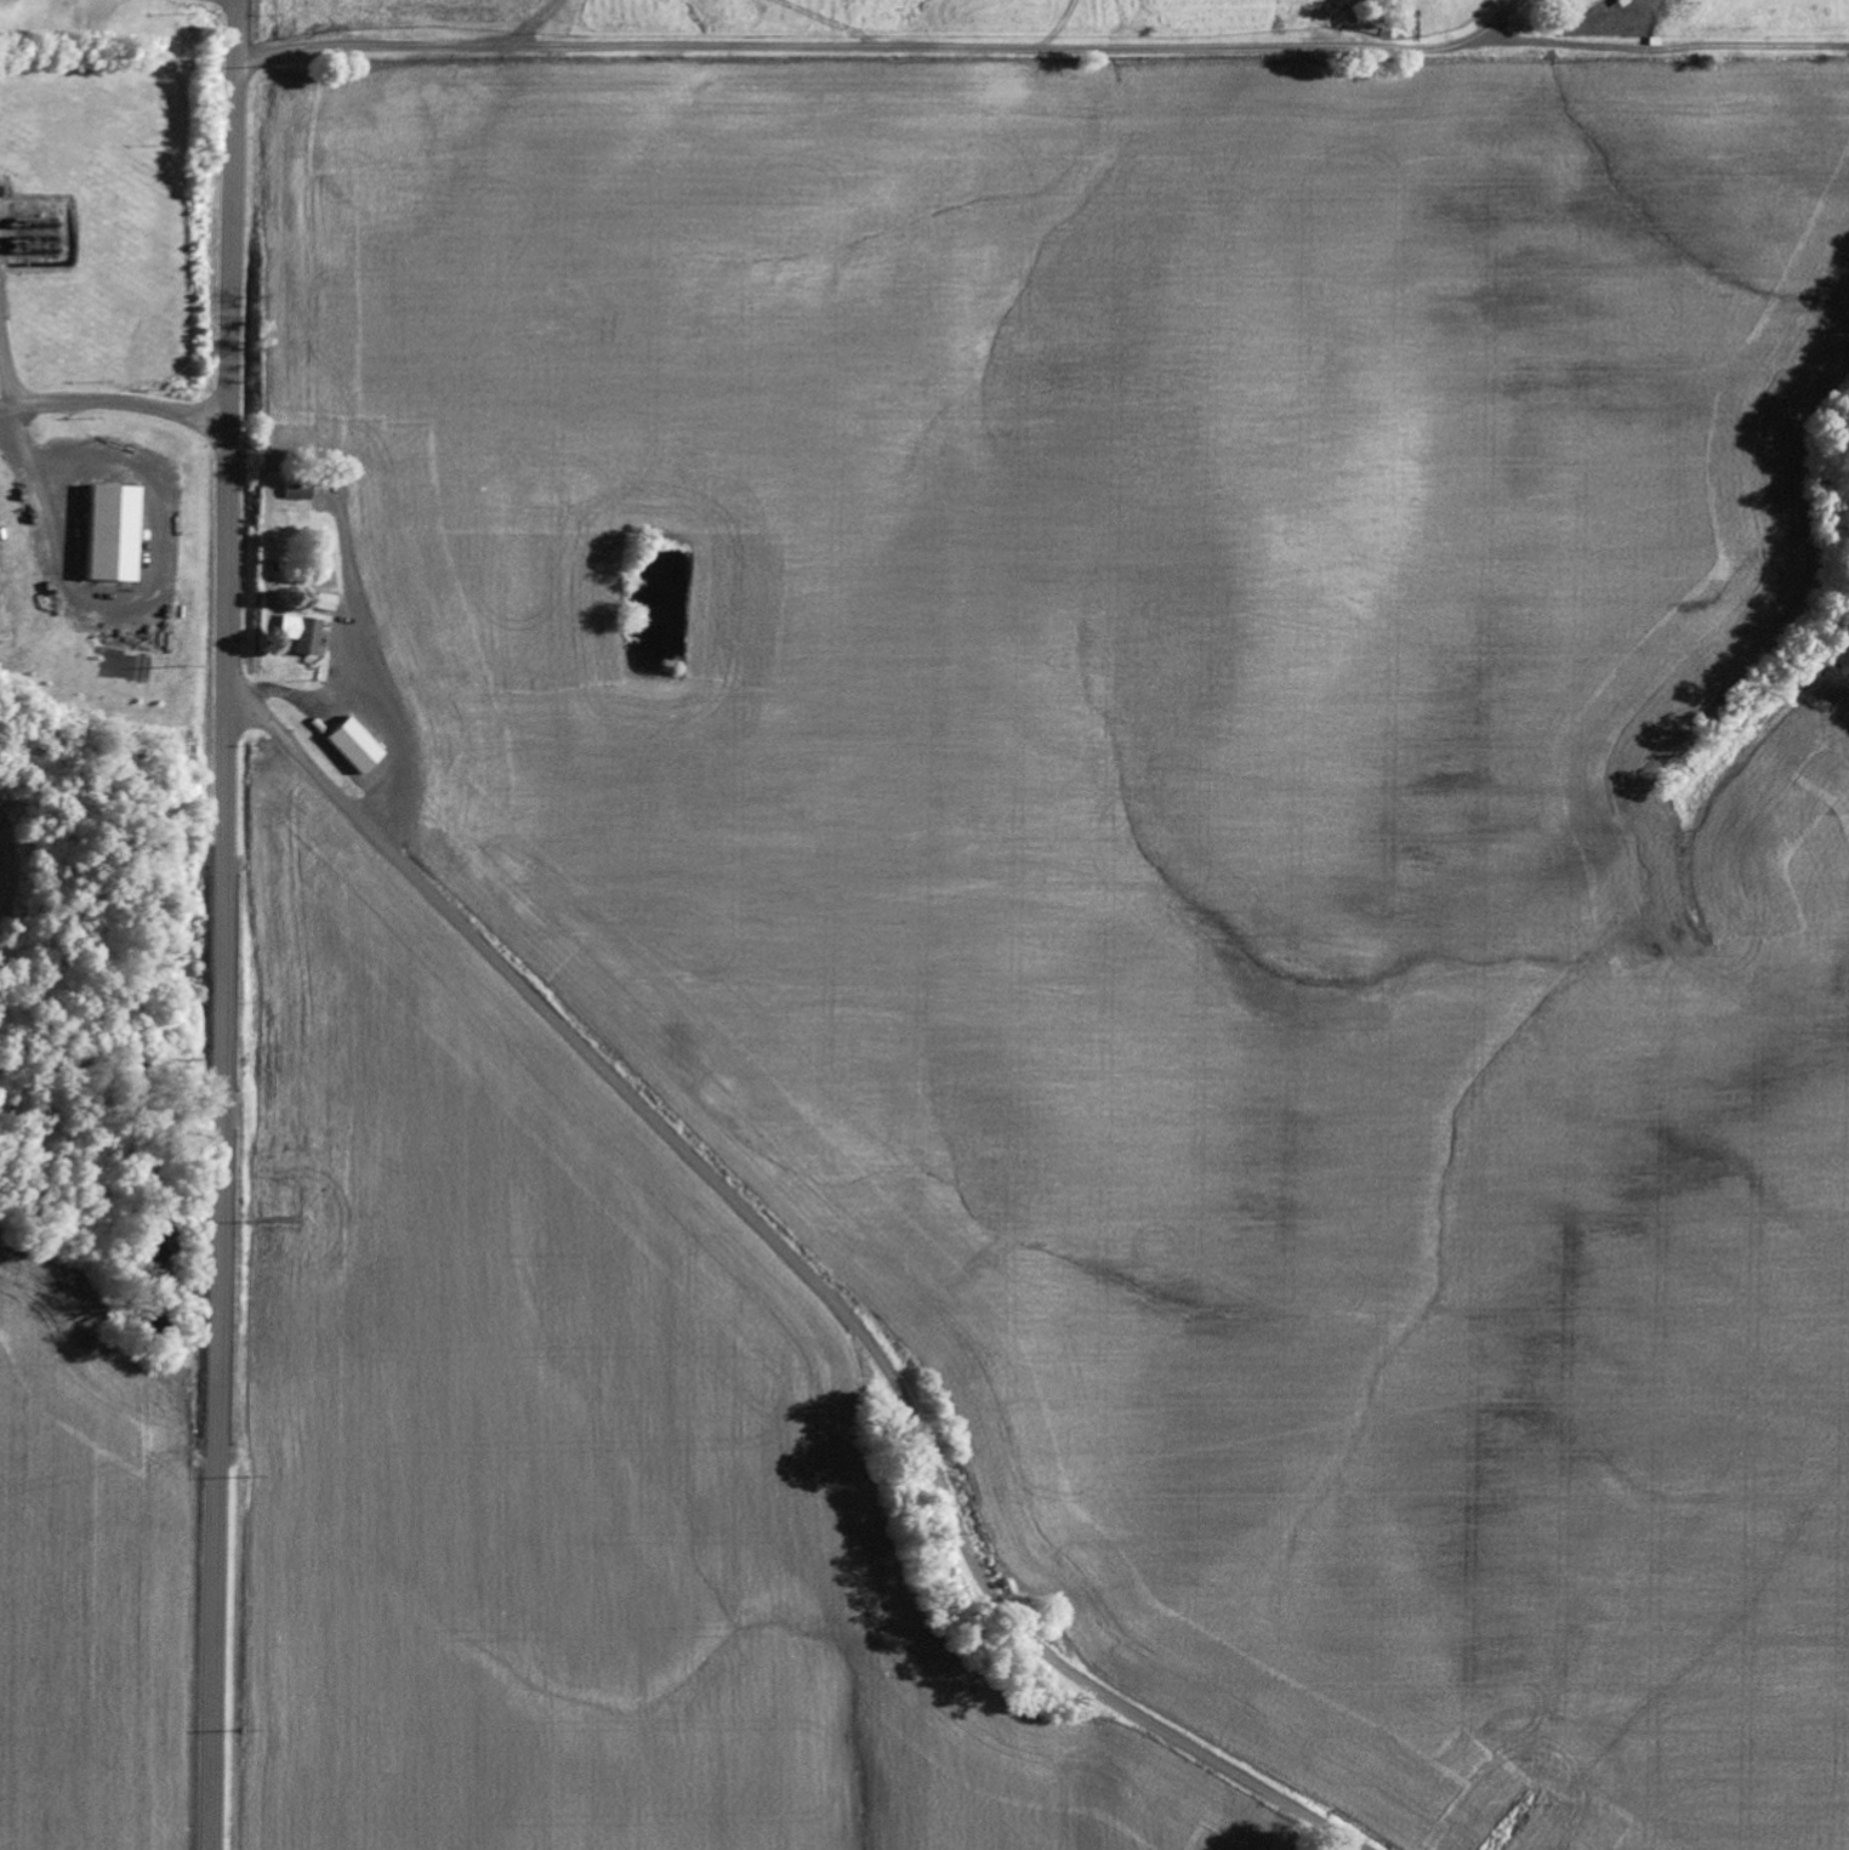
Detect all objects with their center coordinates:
road: (116, 402)
building: (297, 493)
building: (116, 533)
building: (302, 633)
building: (326, 733)
road: (226, 924)
road: (804, 1270)

